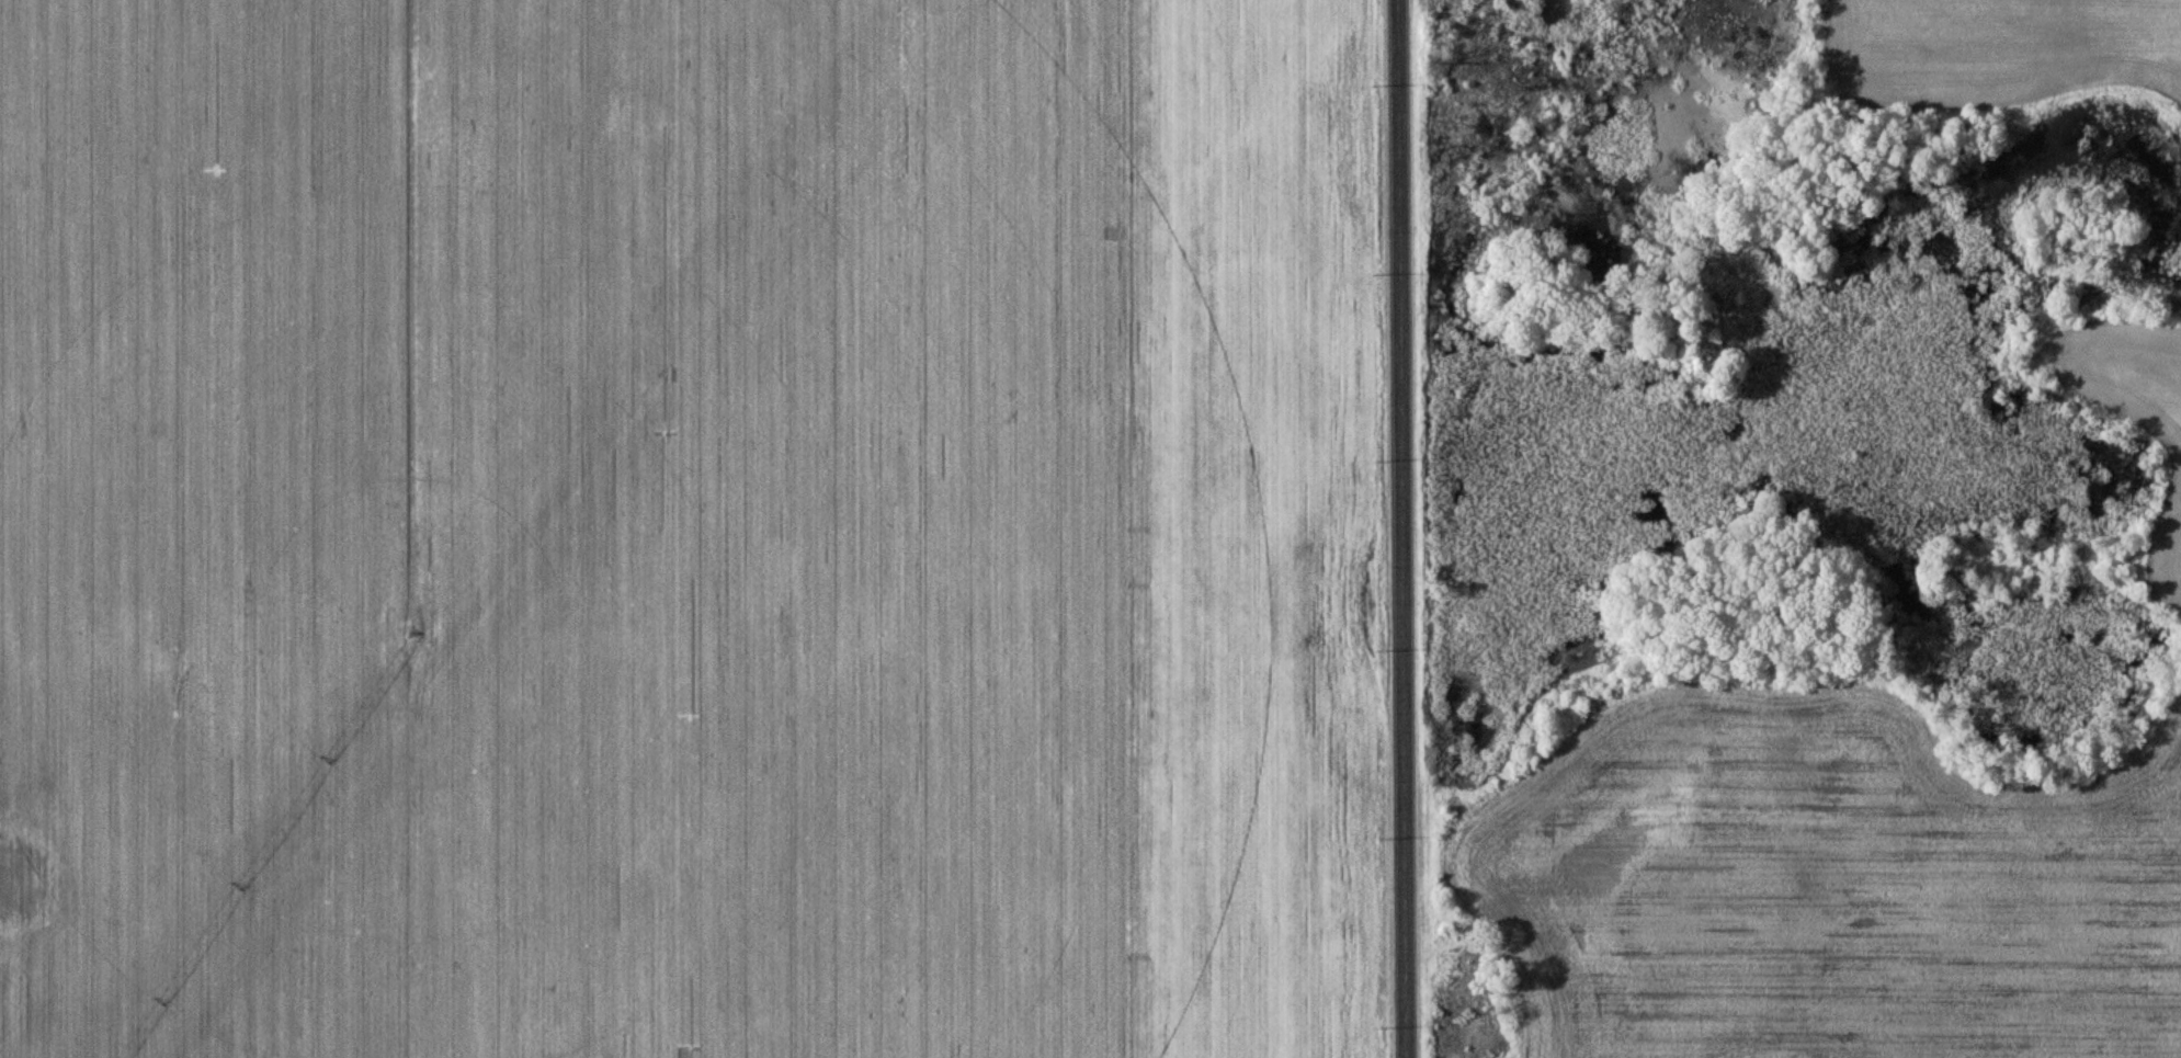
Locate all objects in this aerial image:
road: (1405, 528)

